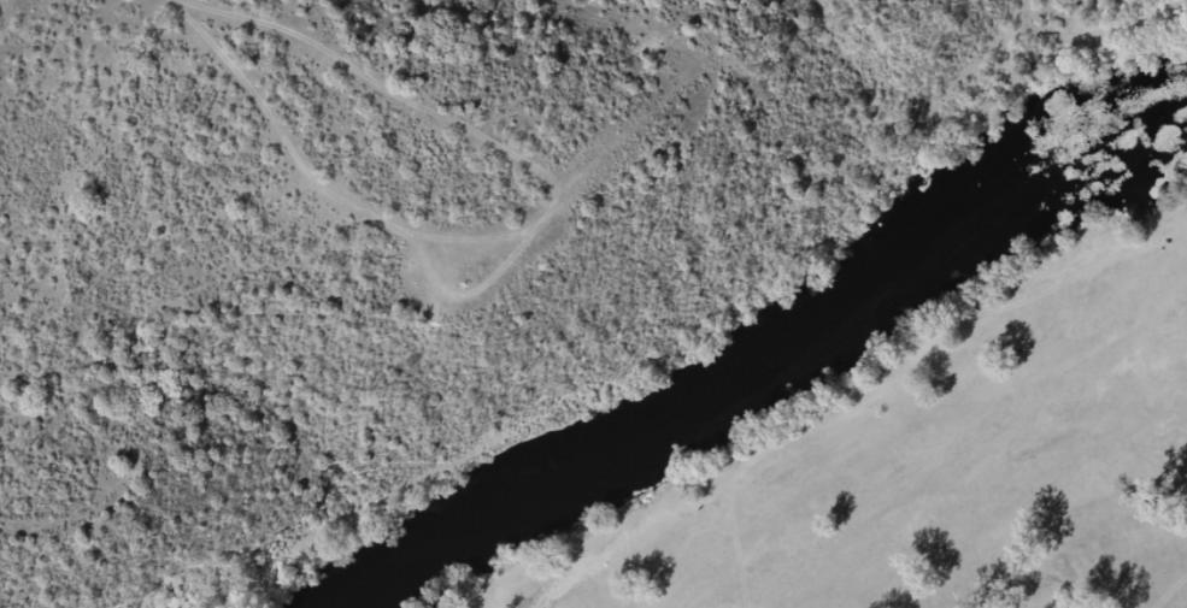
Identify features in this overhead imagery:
river: (783, 353)

